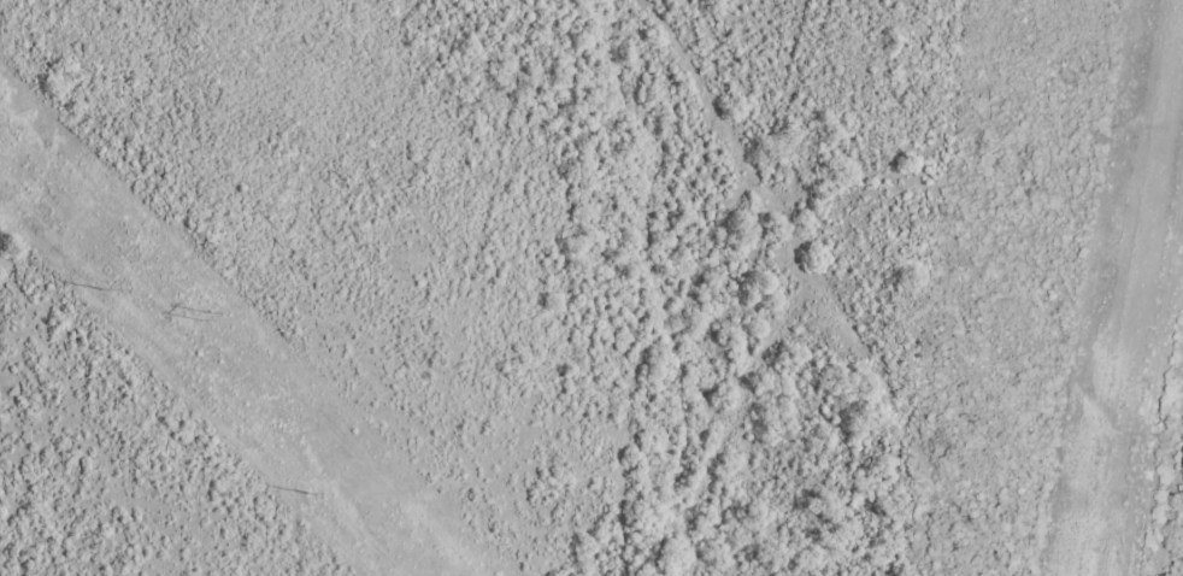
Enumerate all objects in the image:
power tower: (104, 293)
power tower: (205, 316)
power tower: (306, 495)

